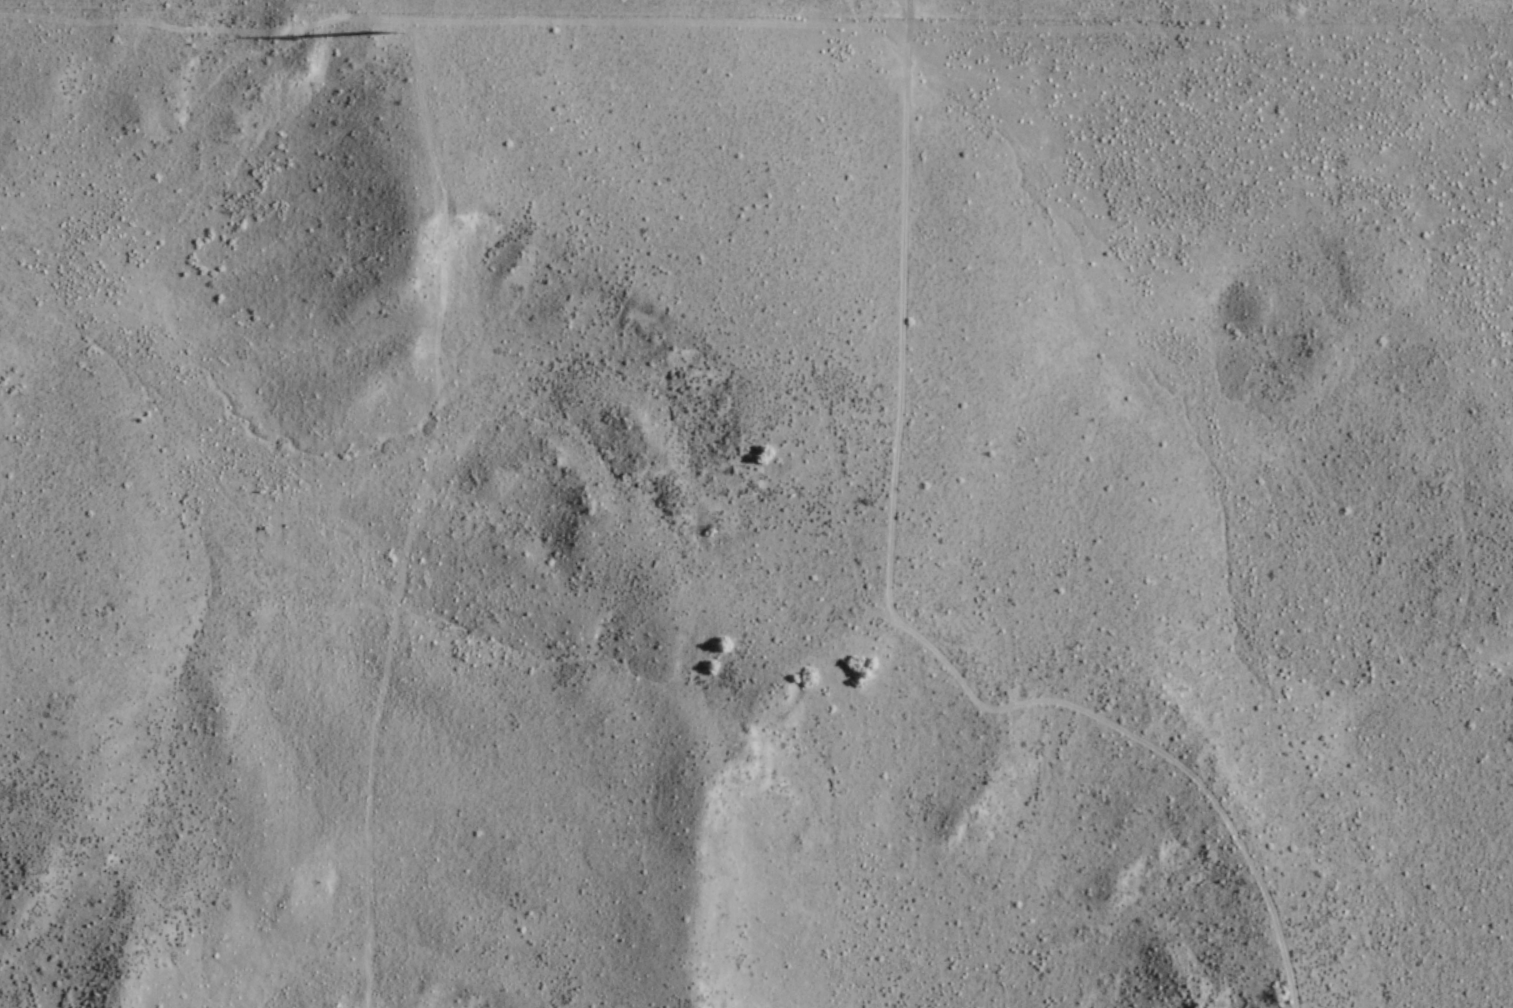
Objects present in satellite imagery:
road: (451, 18)
power tower: (387, 43)
crop: (125, 229)
road: (413, 512)
road: (887, 614)

